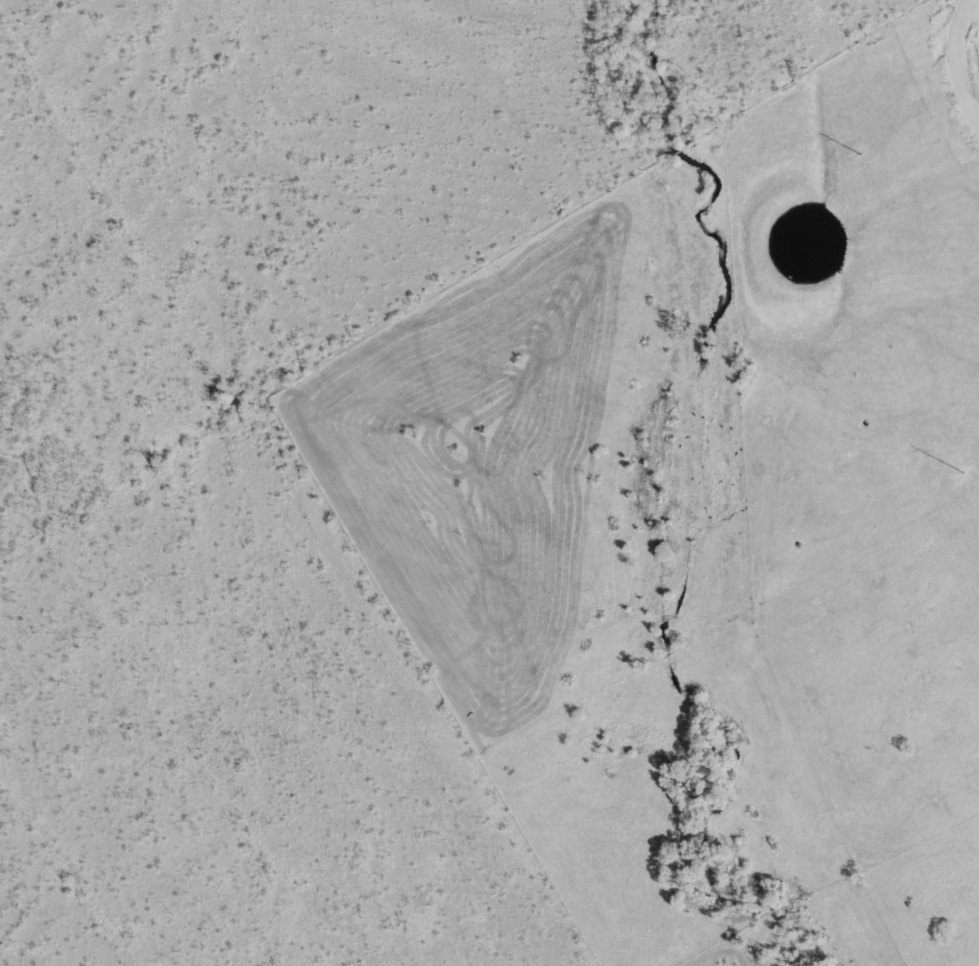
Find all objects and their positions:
power tower: (861, 154)
power tower: (963, 470)

